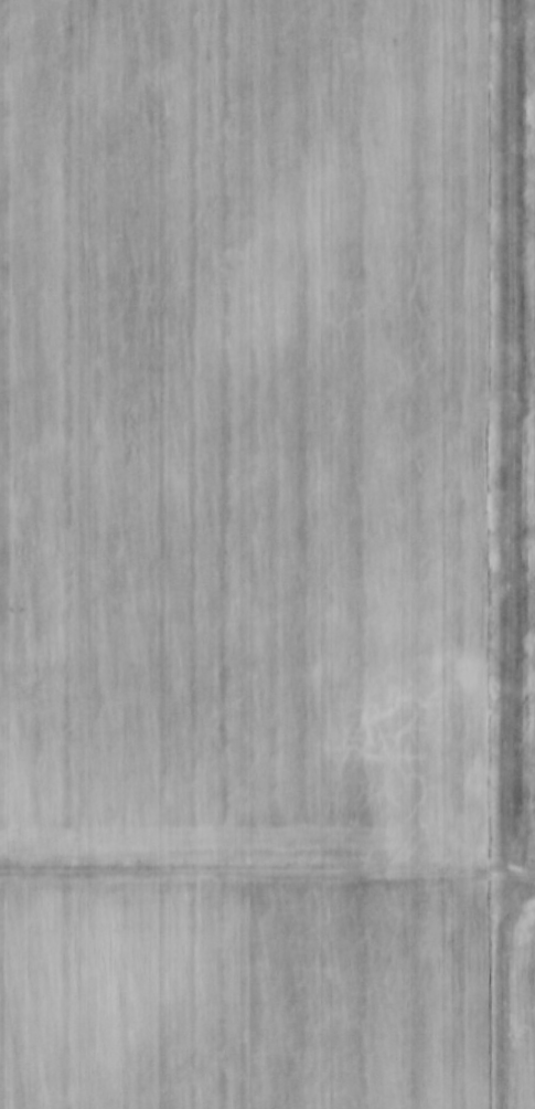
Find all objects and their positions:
road: (511, 440)
road: (267, 874)
road: (507, 994)

